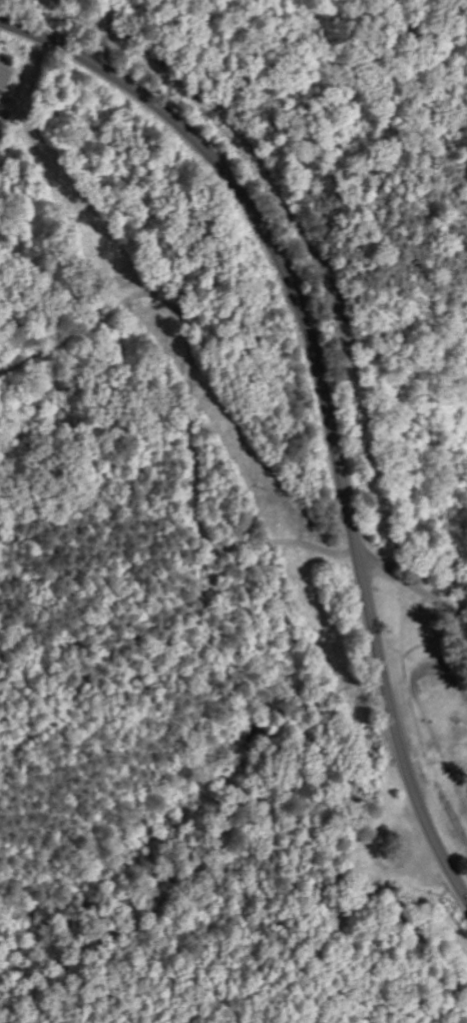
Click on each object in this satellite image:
road: (49, 24)
road: (112, 34)
road: (324, 398)
road: (419, 576)

